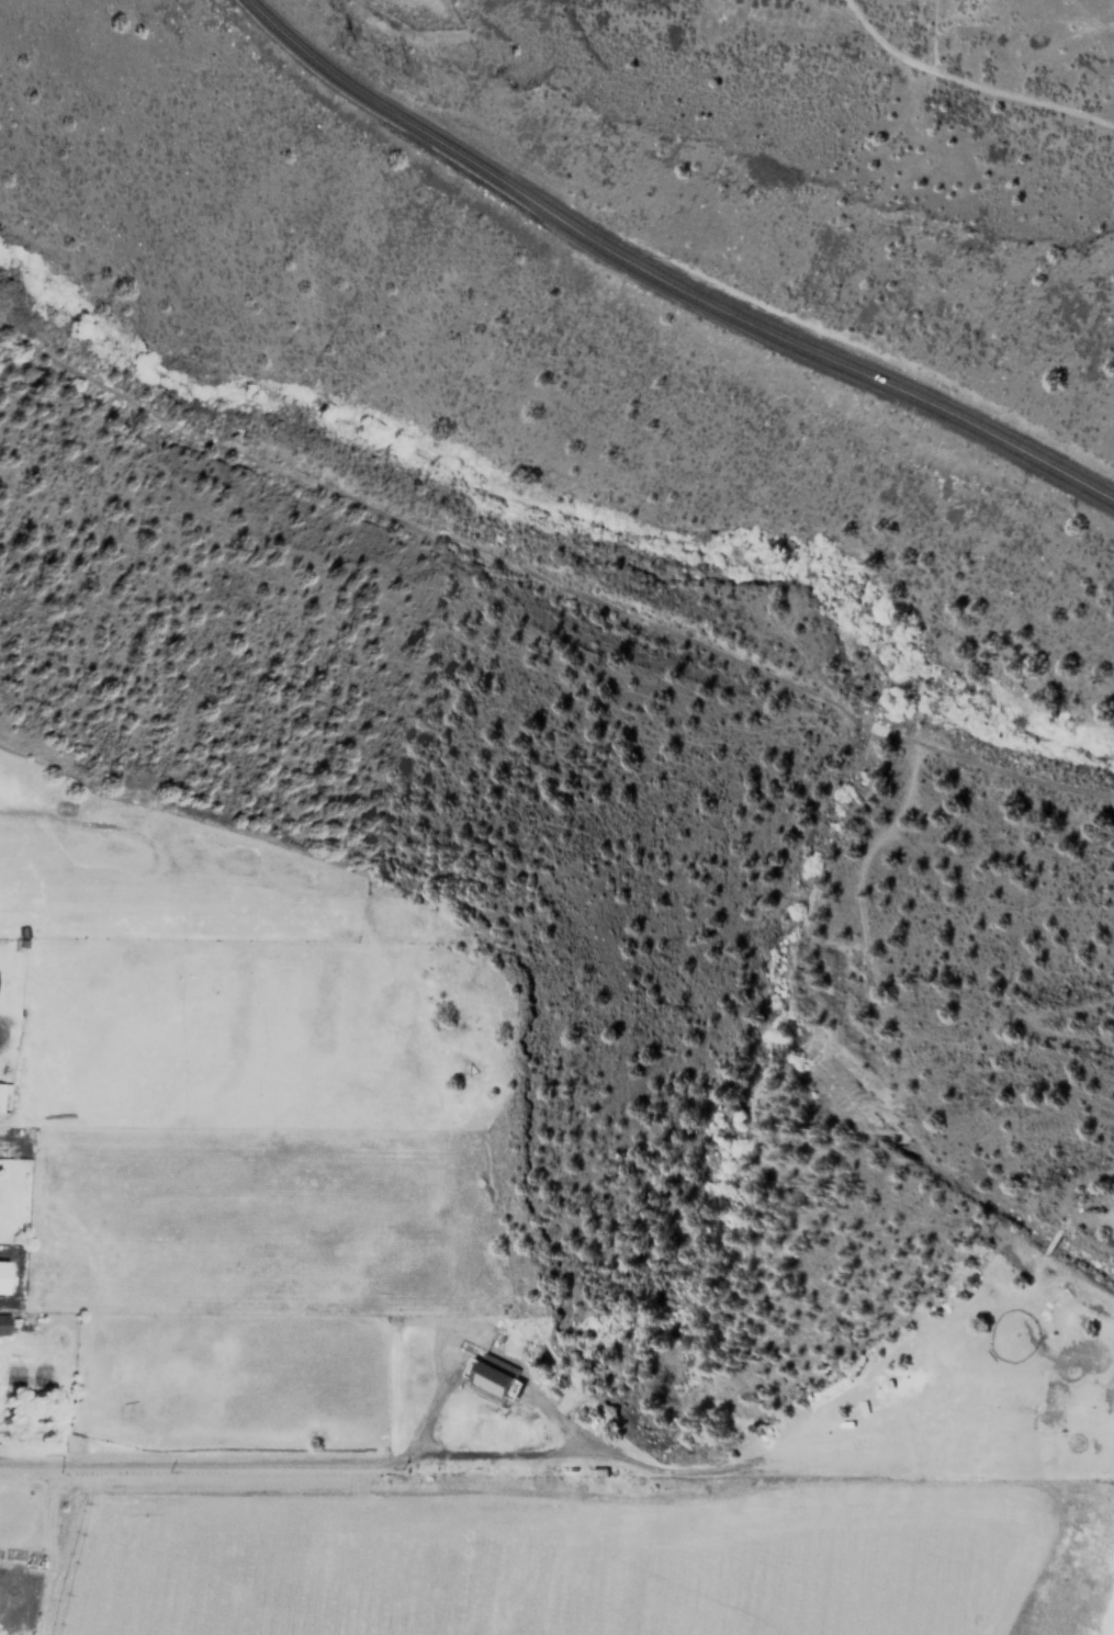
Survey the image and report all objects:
road: (664, 277)
road: (548, 579)
building: (3, 1096)
road: (1064, 1203)
building: (0, 1270)
building: (2, 1323)
building: (491, 1378)
road: (138, 1459)

